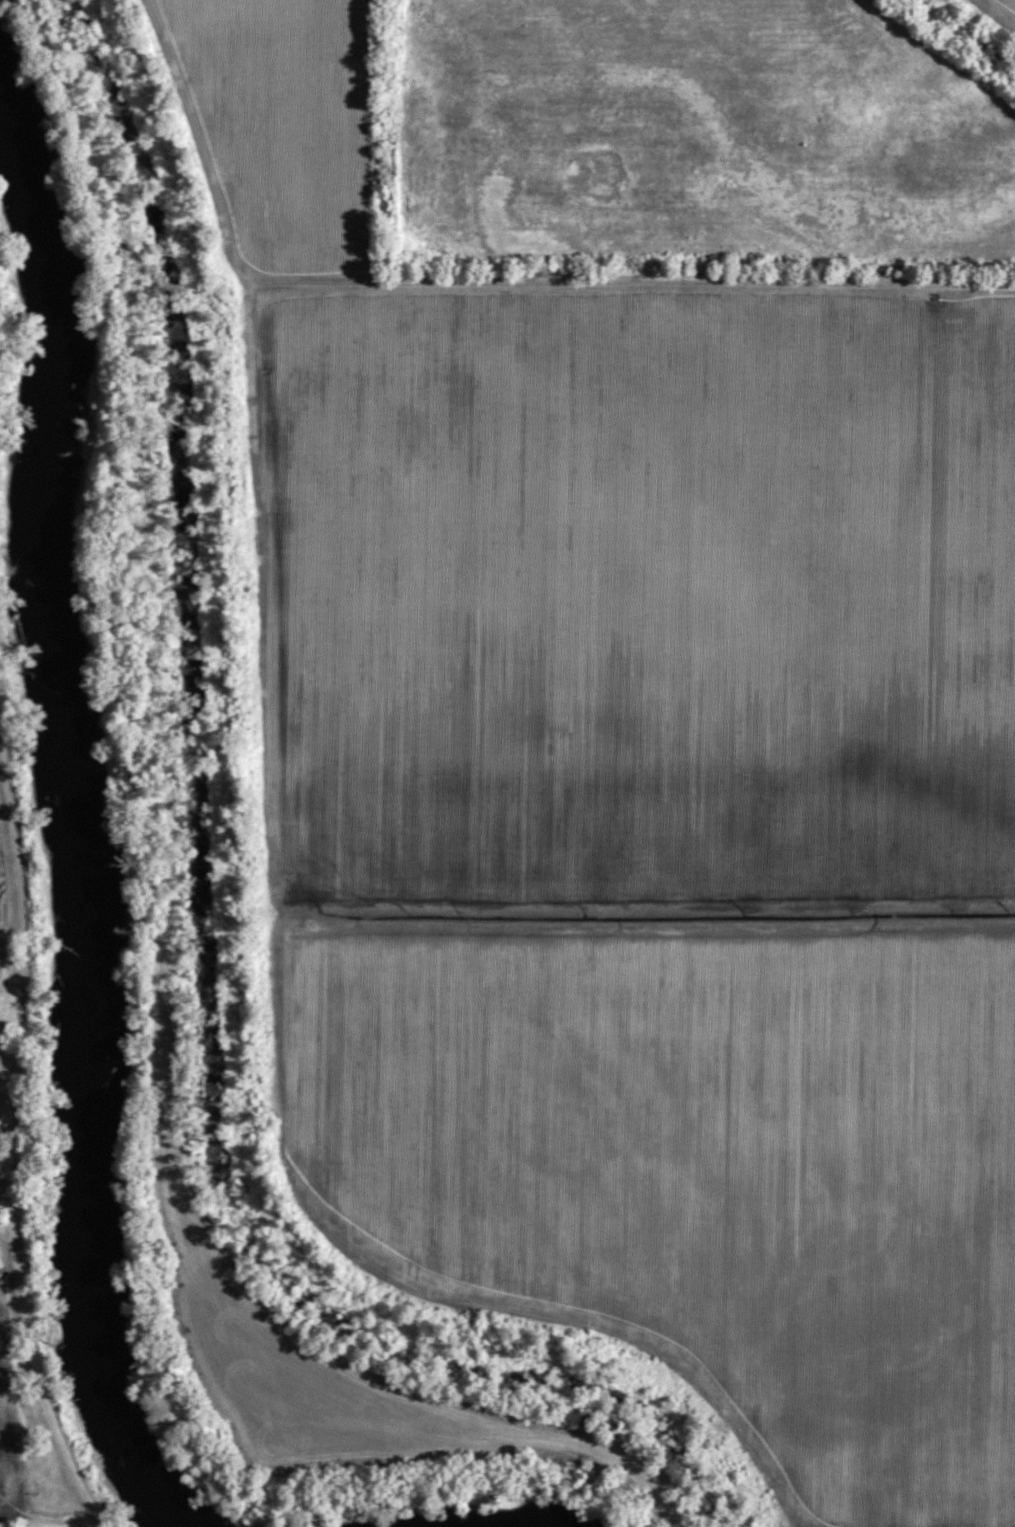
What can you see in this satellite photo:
road: (642, 287)
river: (73, 812)
road: (19, 848)
road: (17, 1244)
building: (588, 1417)
road: (50, 1524)

